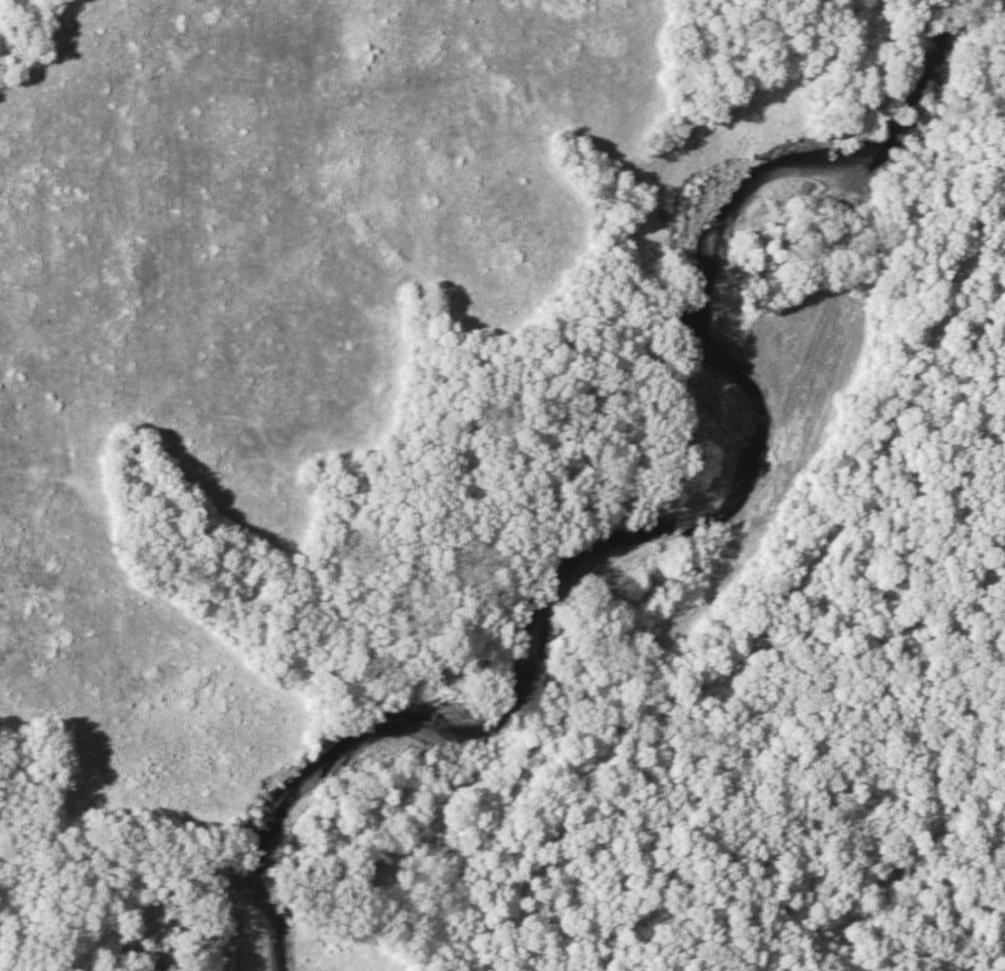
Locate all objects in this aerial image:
river: (696, 576)

